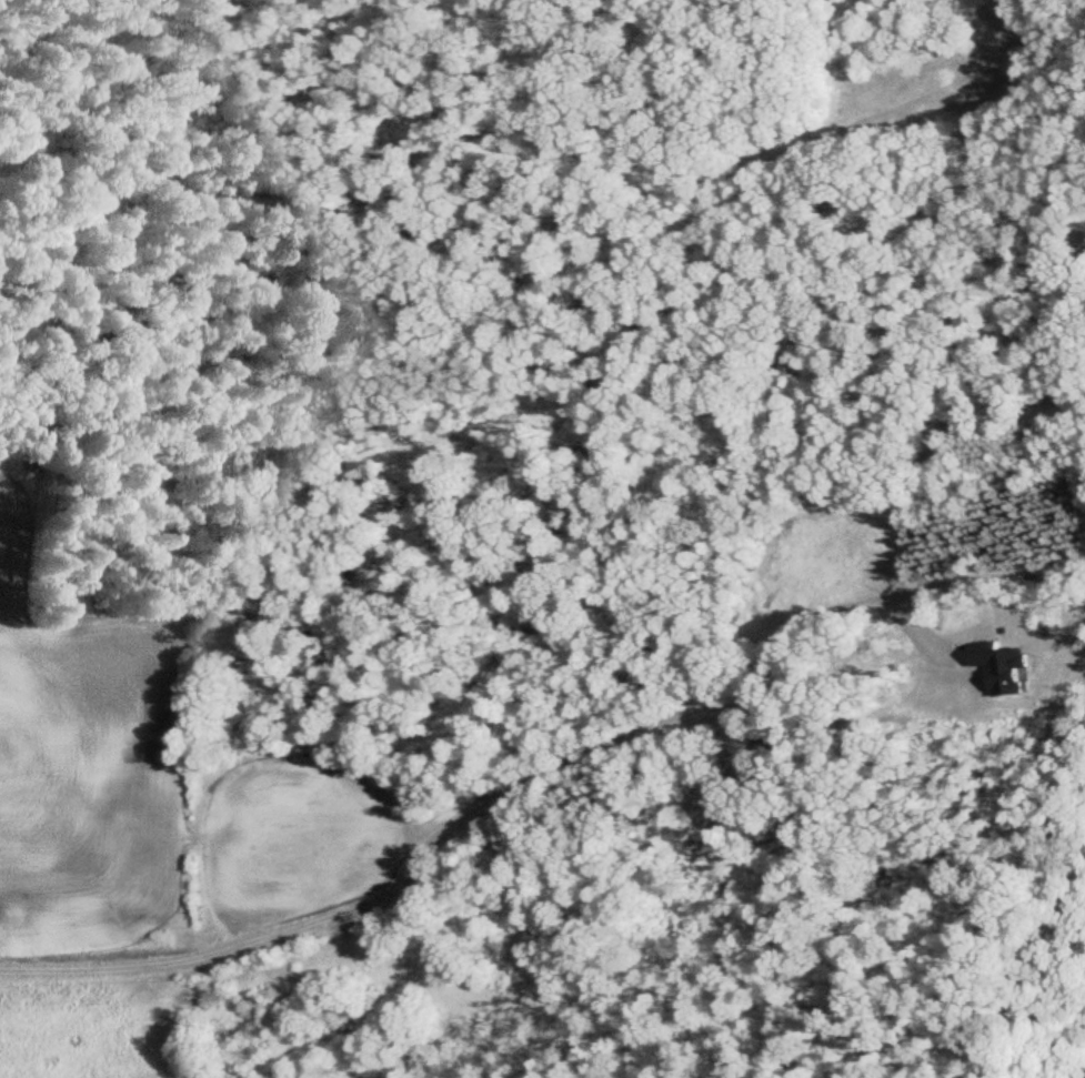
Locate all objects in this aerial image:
road: (261, 936)

